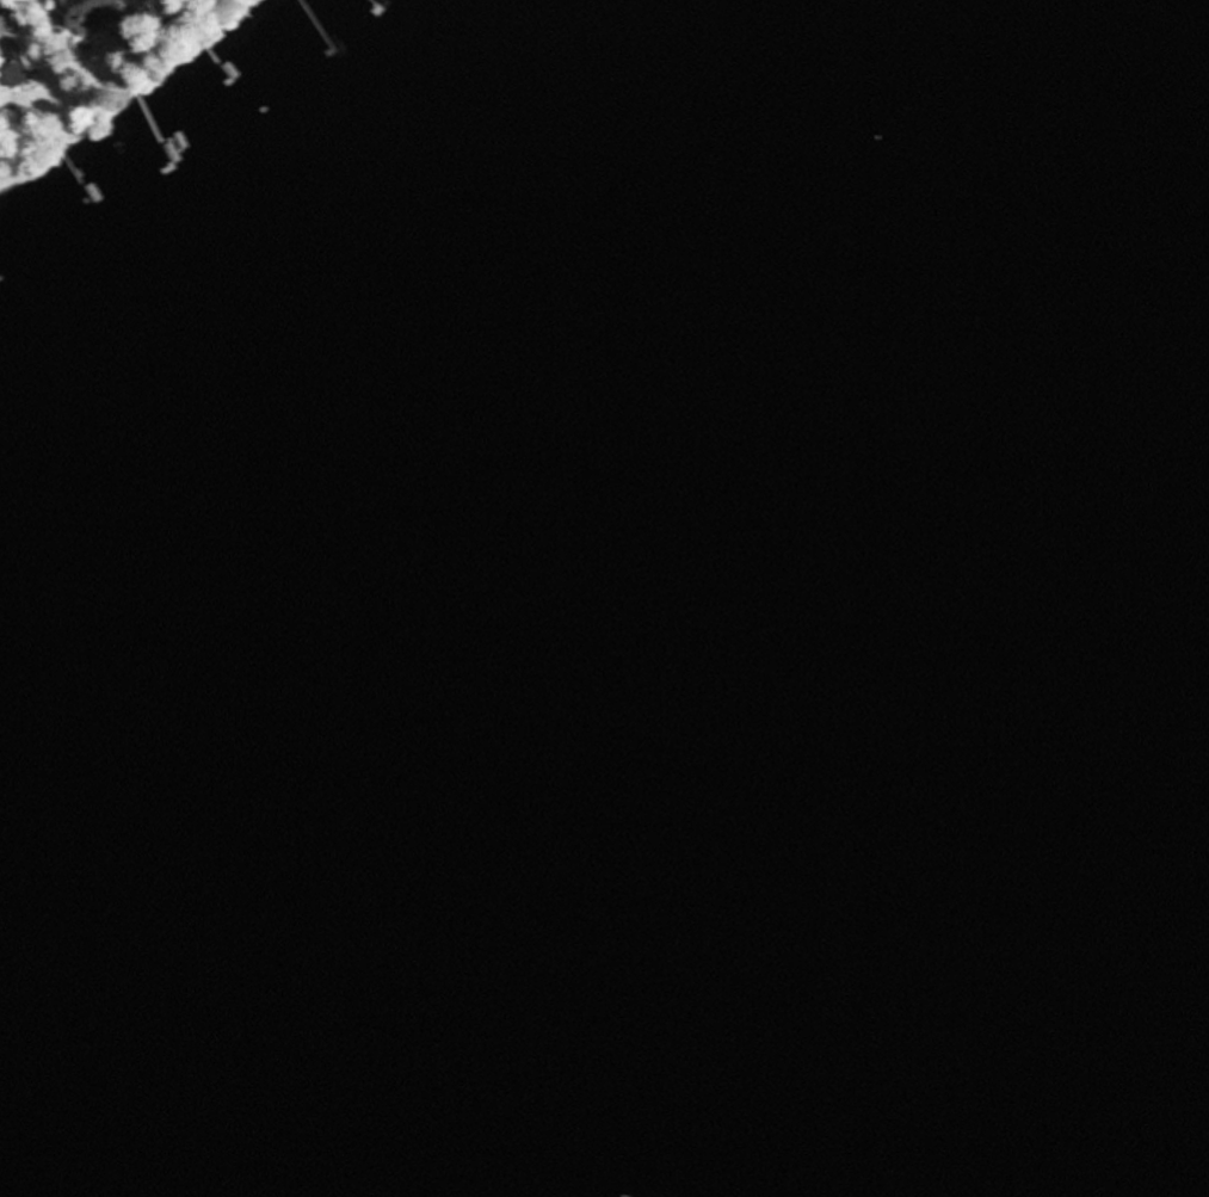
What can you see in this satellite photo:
building: (16, 13)
building: (87, 13)
river: (940, 592)

